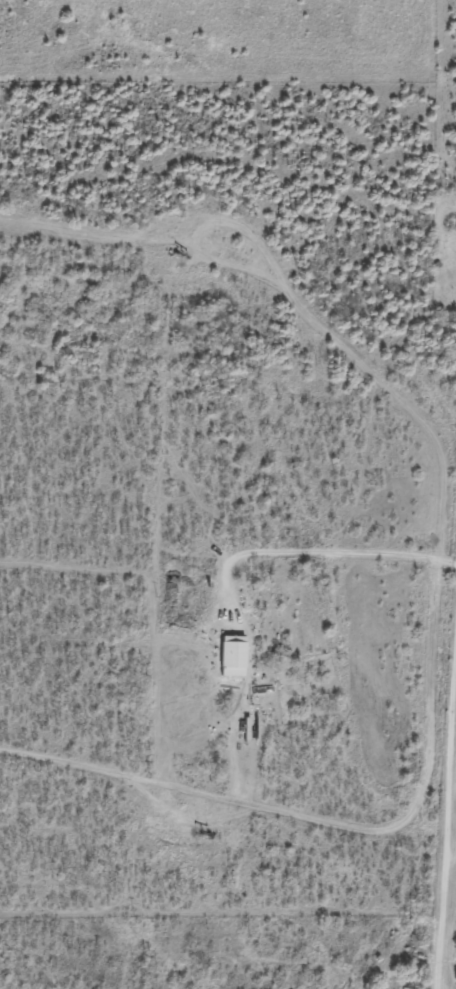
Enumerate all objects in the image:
road: (404, 696)
road: (426, 889)

